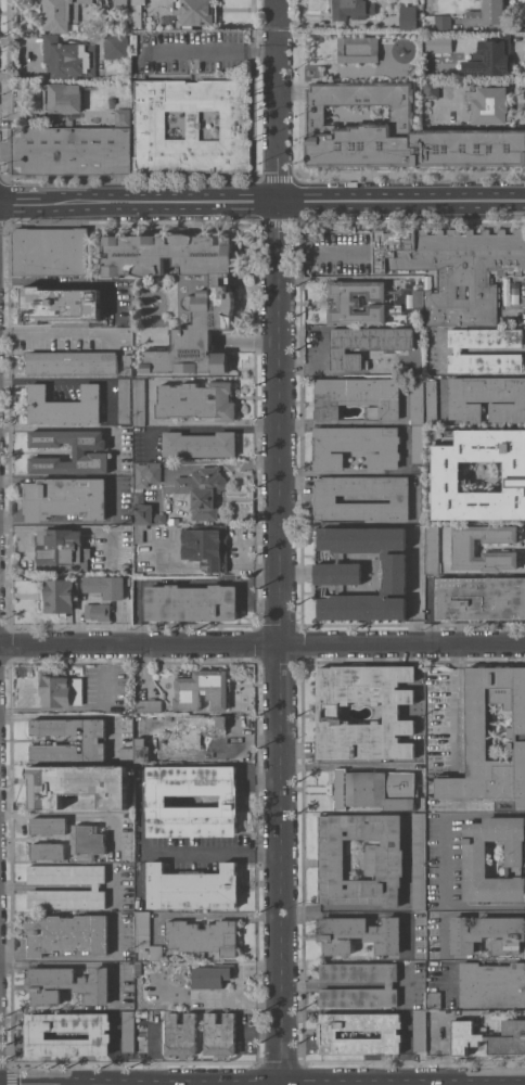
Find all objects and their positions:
building: (120, 2)
road: (276, 3)
building: (353, 11)
building: (195, 12)
building: (488, 13)
building: (61, 14)
building: (138, 14)
road: (277, 16)
building: (409, 17)
building: (443, 22)
road: (277, 34)
building: (445, 43)
building: (116, 46)
road: (207, 49)
building: (358, 49)
building: (491, 56)
building: (68, 58)
building: (431, 88)
building: (63, 98)
building: (490, 104)
building: (123, 116)
road: (276, 119)
building: (191, 126)
building: (397, 132)
building: (72, 150)
road: (286, 200)
road: (24, 202)
building: (51, 251)
road: (321, 254)
building: (454, 269)
road: (71, 282)
building: (420, 284)
building: (514, 293)
building: (418, 298)
building: (357, 302)
building: (207, 303)
building: (60, 304)
building: (412, 319)
building: (504, 319)
road: (54, 332)
building: (366, 344)
building: (458, 350)
building: (72, 361)
building: (128, 365)
road: (319, 368)
road: (63, 379)
building: (358, 397)
building: (487, 398)
building: (432, 399)
building: (125, 400)
building: (197, 400)
building: (139, 401)
building: (417, 403)
building: (64, 406)
road: (200, 427)
building: (418, 444)
building: (199, 445)
building: (356, 446)
building: (125, 449)
building: (79, 451)
road: (208, 463)
building: (153, 474)
building: (447, 474)
building: (203, 490)
building: (65, 498)
building: (325, 498)
building: (145, 511)
road: (68, 527)
building: (140, 532)
building: (205, 546)
building: (465, 547)
building: (63, 548)
building: (432, 549)
road: (172, 562)
road: (215, 562)
road: (253, 563)
building: (338, 573)
road: (193, 580)
building: (105, 586)
building: (417, 595)
building: (57, 597)
building: (481, 598)
building: (191, 602)
building: (97, 611)
road: (278, 642)
road: (262, 643)
road: (103, 673)
building: (61, 687)
building: (203, 689)
building: (149, 705)
road: (453, 706)
building: (329, 712)
building: (168, 717)
building: (200, 728)
building: (477, 736)
building: (90, 739)
building: (169, 740)
building: (142, 750)
building: (127, 754)
building: (77, 784)
building: (374, 789)
building: (156, 801)
road: (77, 814)
building: (48, 825)
road: (139, 835)
building: (87, 841)
building: (47, 851)
road: (209, 852)
building: (475, 852)
road: (443, 859)
building: (419, 860)
building: (384, 861)
road: (117, 884)
road: (47, 886)
road: (97, 886)
road: (108, 886)
building: (97, 888)
building: (193, 888)
road: (214, 914)
building: (67, 933)
building: (359, 934)
building: (488, 934)
building: (145, 935)
building: (204, 936)
road: (14, 955)
road: (37, 955)
road: (97, 956)
building: (213, 975)
road: (407, 979)
building: (66, 984)
road: (332, 984)
road: (389, 984)
building: (492, 984)
building: (389, 986)
road: (408, 992)
building: (434, 1000)
building: (420, 1030)
building: (128, 1031)
building: (329, 1032)
building: (181, 1034)
building: (220, 1034)
building: (101, 1035)
building: (489, 1037)
road: (446, 1049)
road: (407, 1050)

